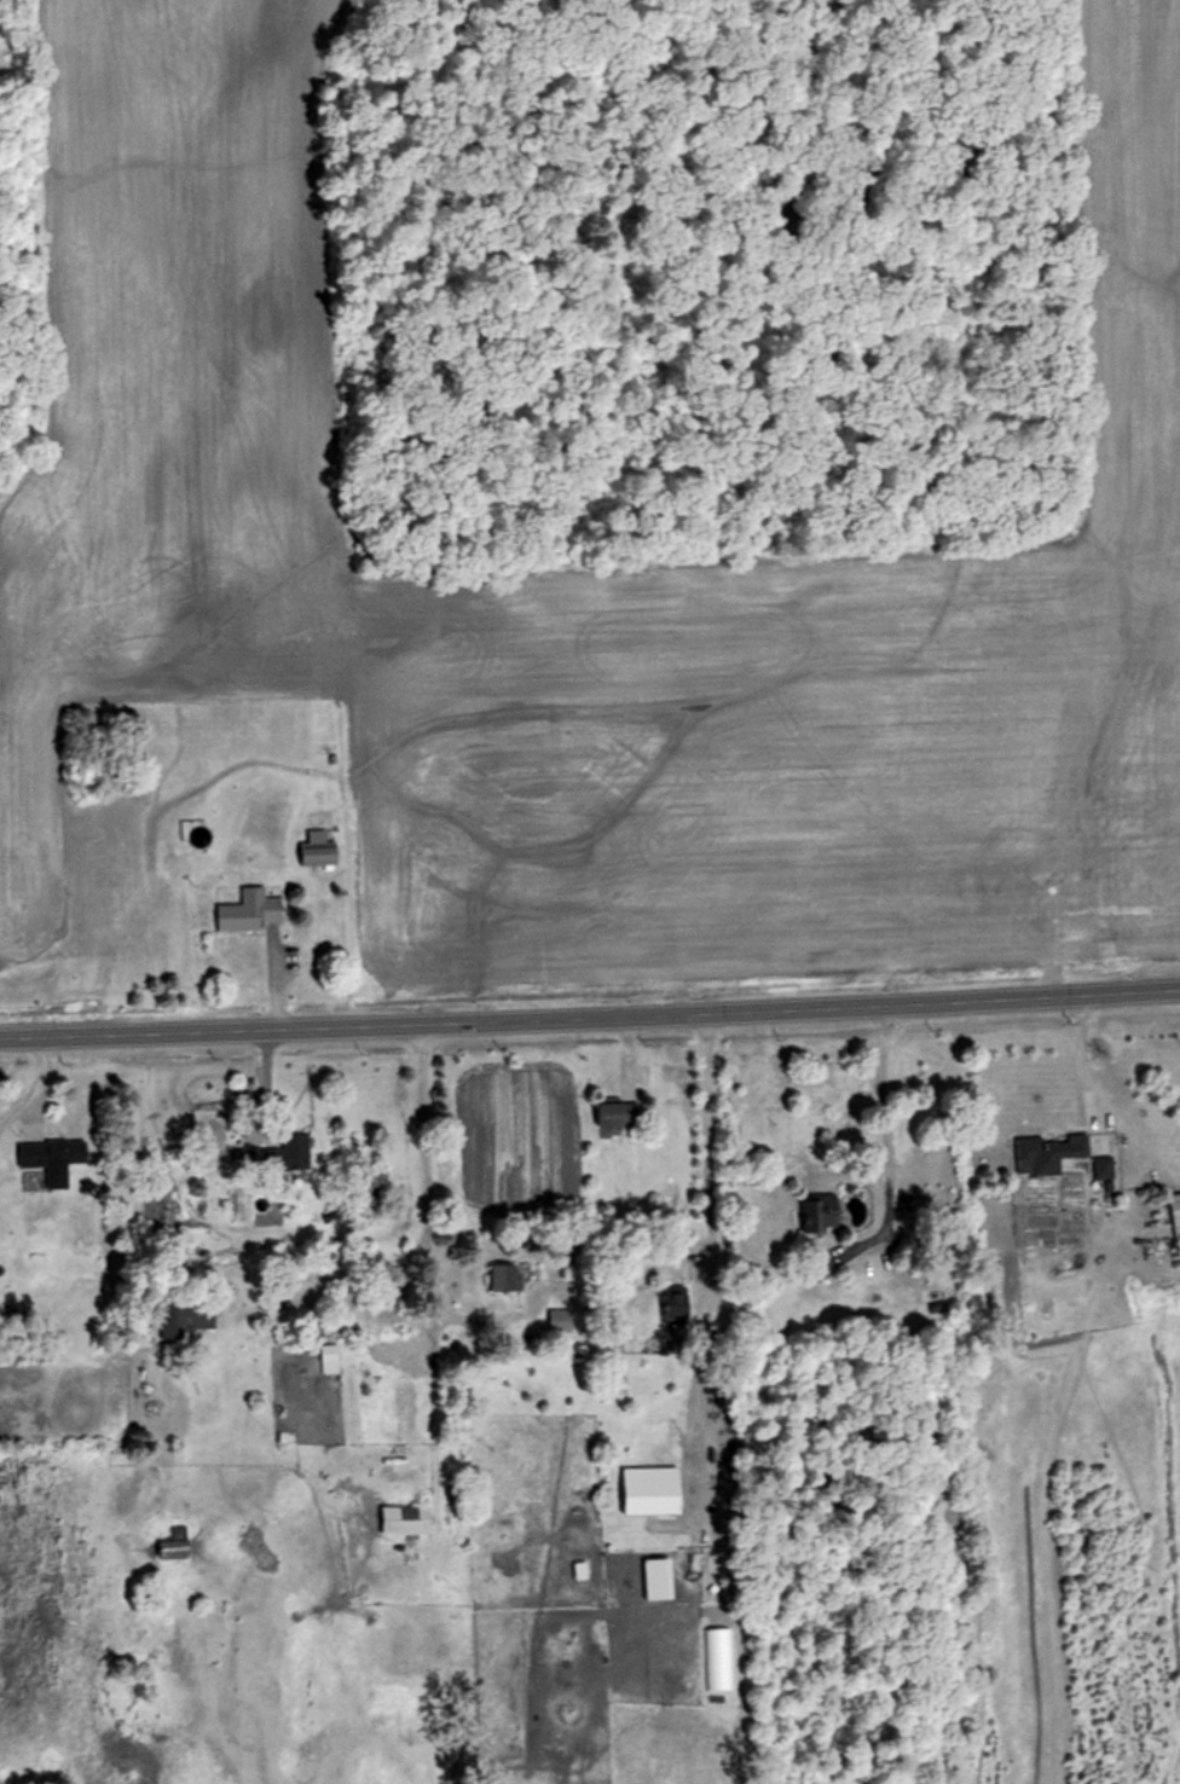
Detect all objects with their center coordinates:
building: (317, 856)
building: (249, 911)
road: (590, 1019)
building: (614, 1114)
road: (886, 1116)
road: (705, 1140)
building: (1048, 1152)
building: (53, 1153)
building: (278, 1154)
road: (422, 1203)
building: (1176, 1209)
building: (503, 1278)
building: (676, 1303)
building: (191, 1317)
building: (330, 1359)
building: (653, 1492)
building: (406, 1519)
building: (178, 1543)

